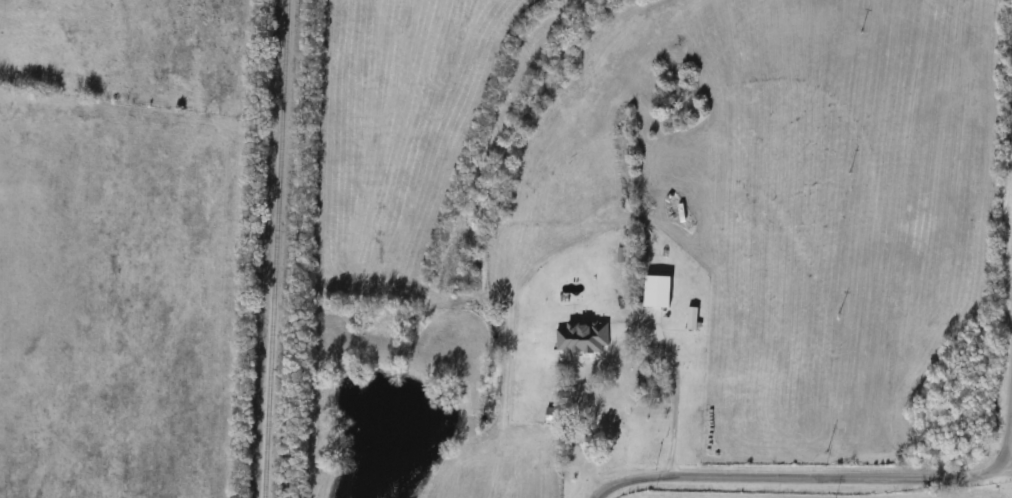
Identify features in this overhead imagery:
railway: (274, 249)
building: (660, 292)
building: (596, 339)
road: (676, 385)
building: (611, 419)
road: (1007, 454)
road: (1004, 467)
road: (853, 477)

